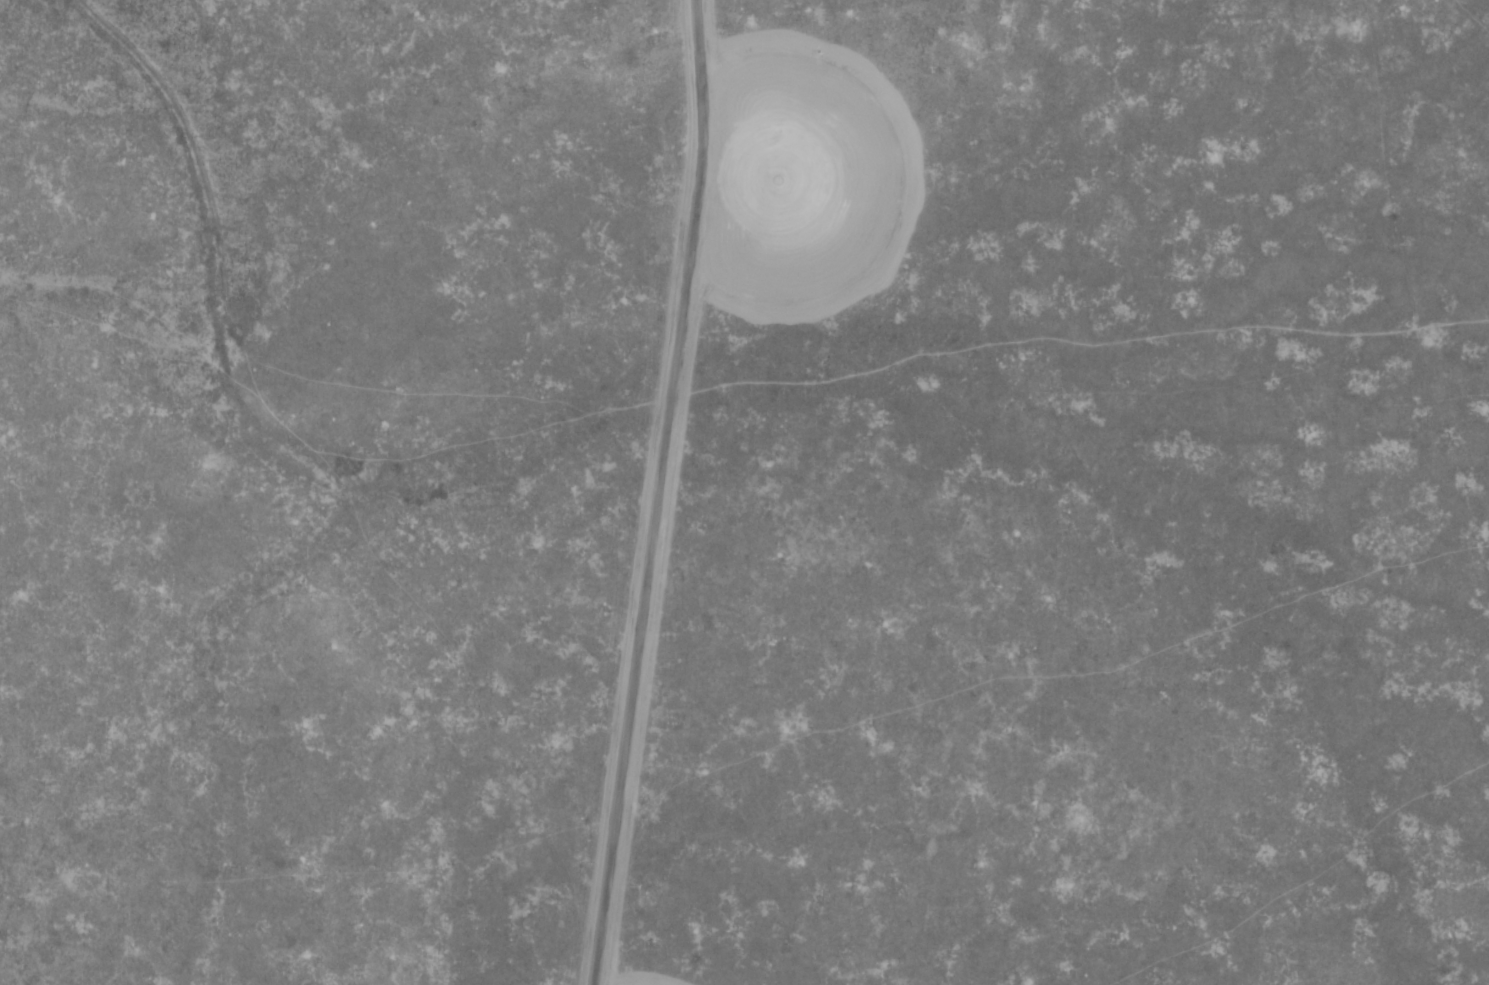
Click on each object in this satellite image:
wind turbine: (764, 181)

